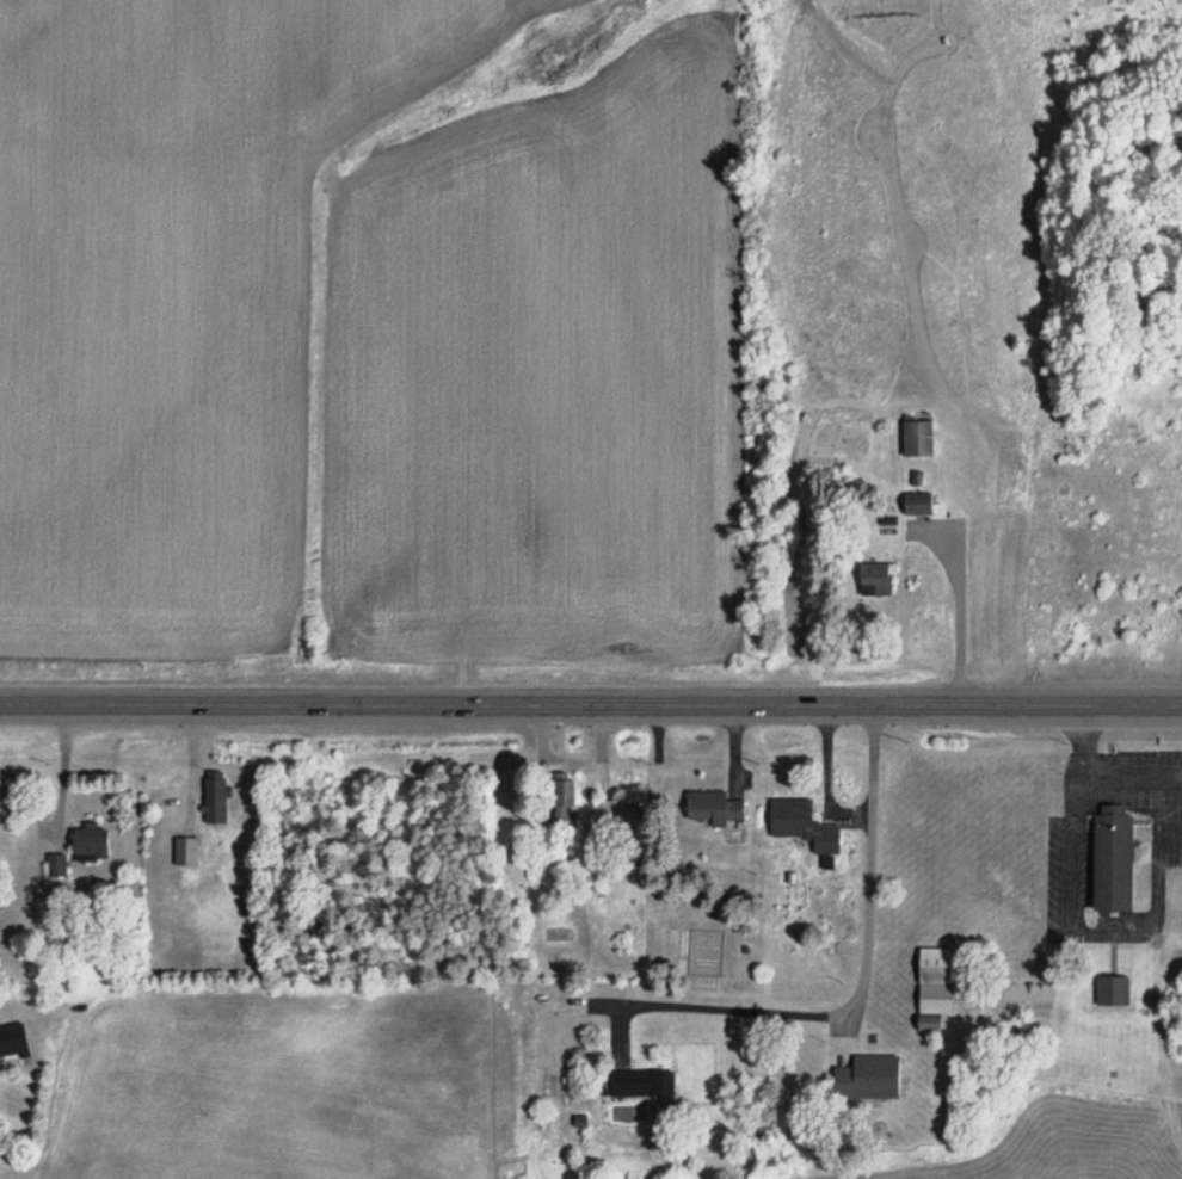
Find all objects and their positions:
building: (918, 439)
building: (921, 504)
building: (878, 578)
road: (591, 700)
road: (1077, 733)
road: (1129, 766)
parking lot: (1149, 783)
building: (216, 797)
building: (566, 798)
building: (714, 809)
building: (802, 825)
building: (91, 841)
building: (1112, 845)
building: (186, 851)
parking lot: (1066, 852)
building: (57, 865)
road: (1090, 922)
road: (862, 977)
building: (935, 986)
building: (1113, 989)
building: (13, 1039)
building: (868, 1078)
building: (645, 1084)

